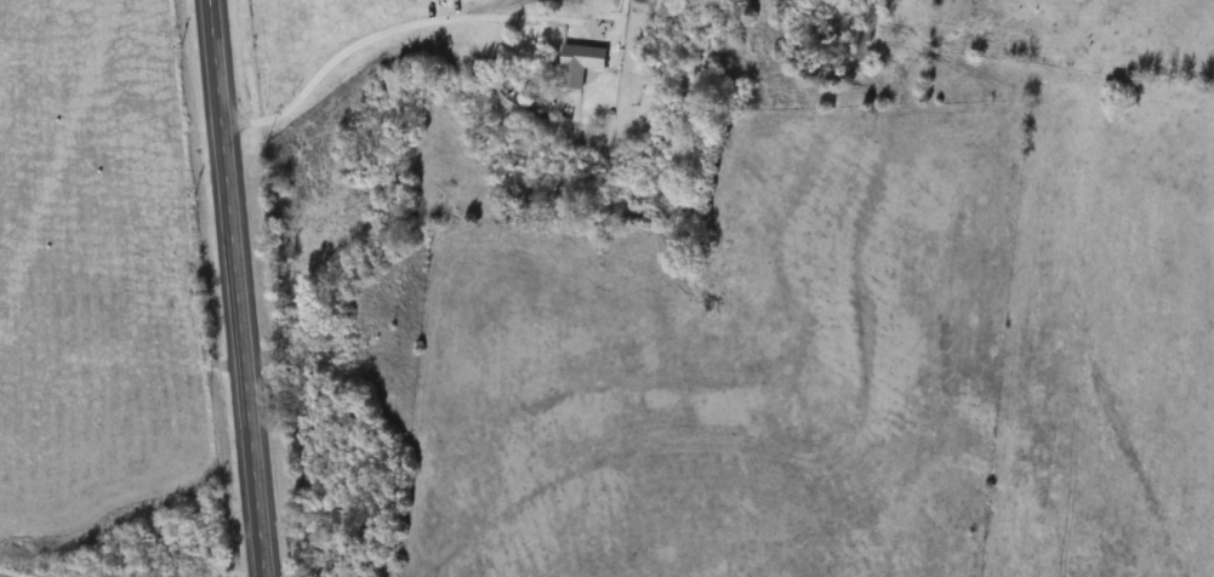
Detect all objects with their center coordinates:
road: (394, 27)
building: (581, 64)
road: (239, 287)

